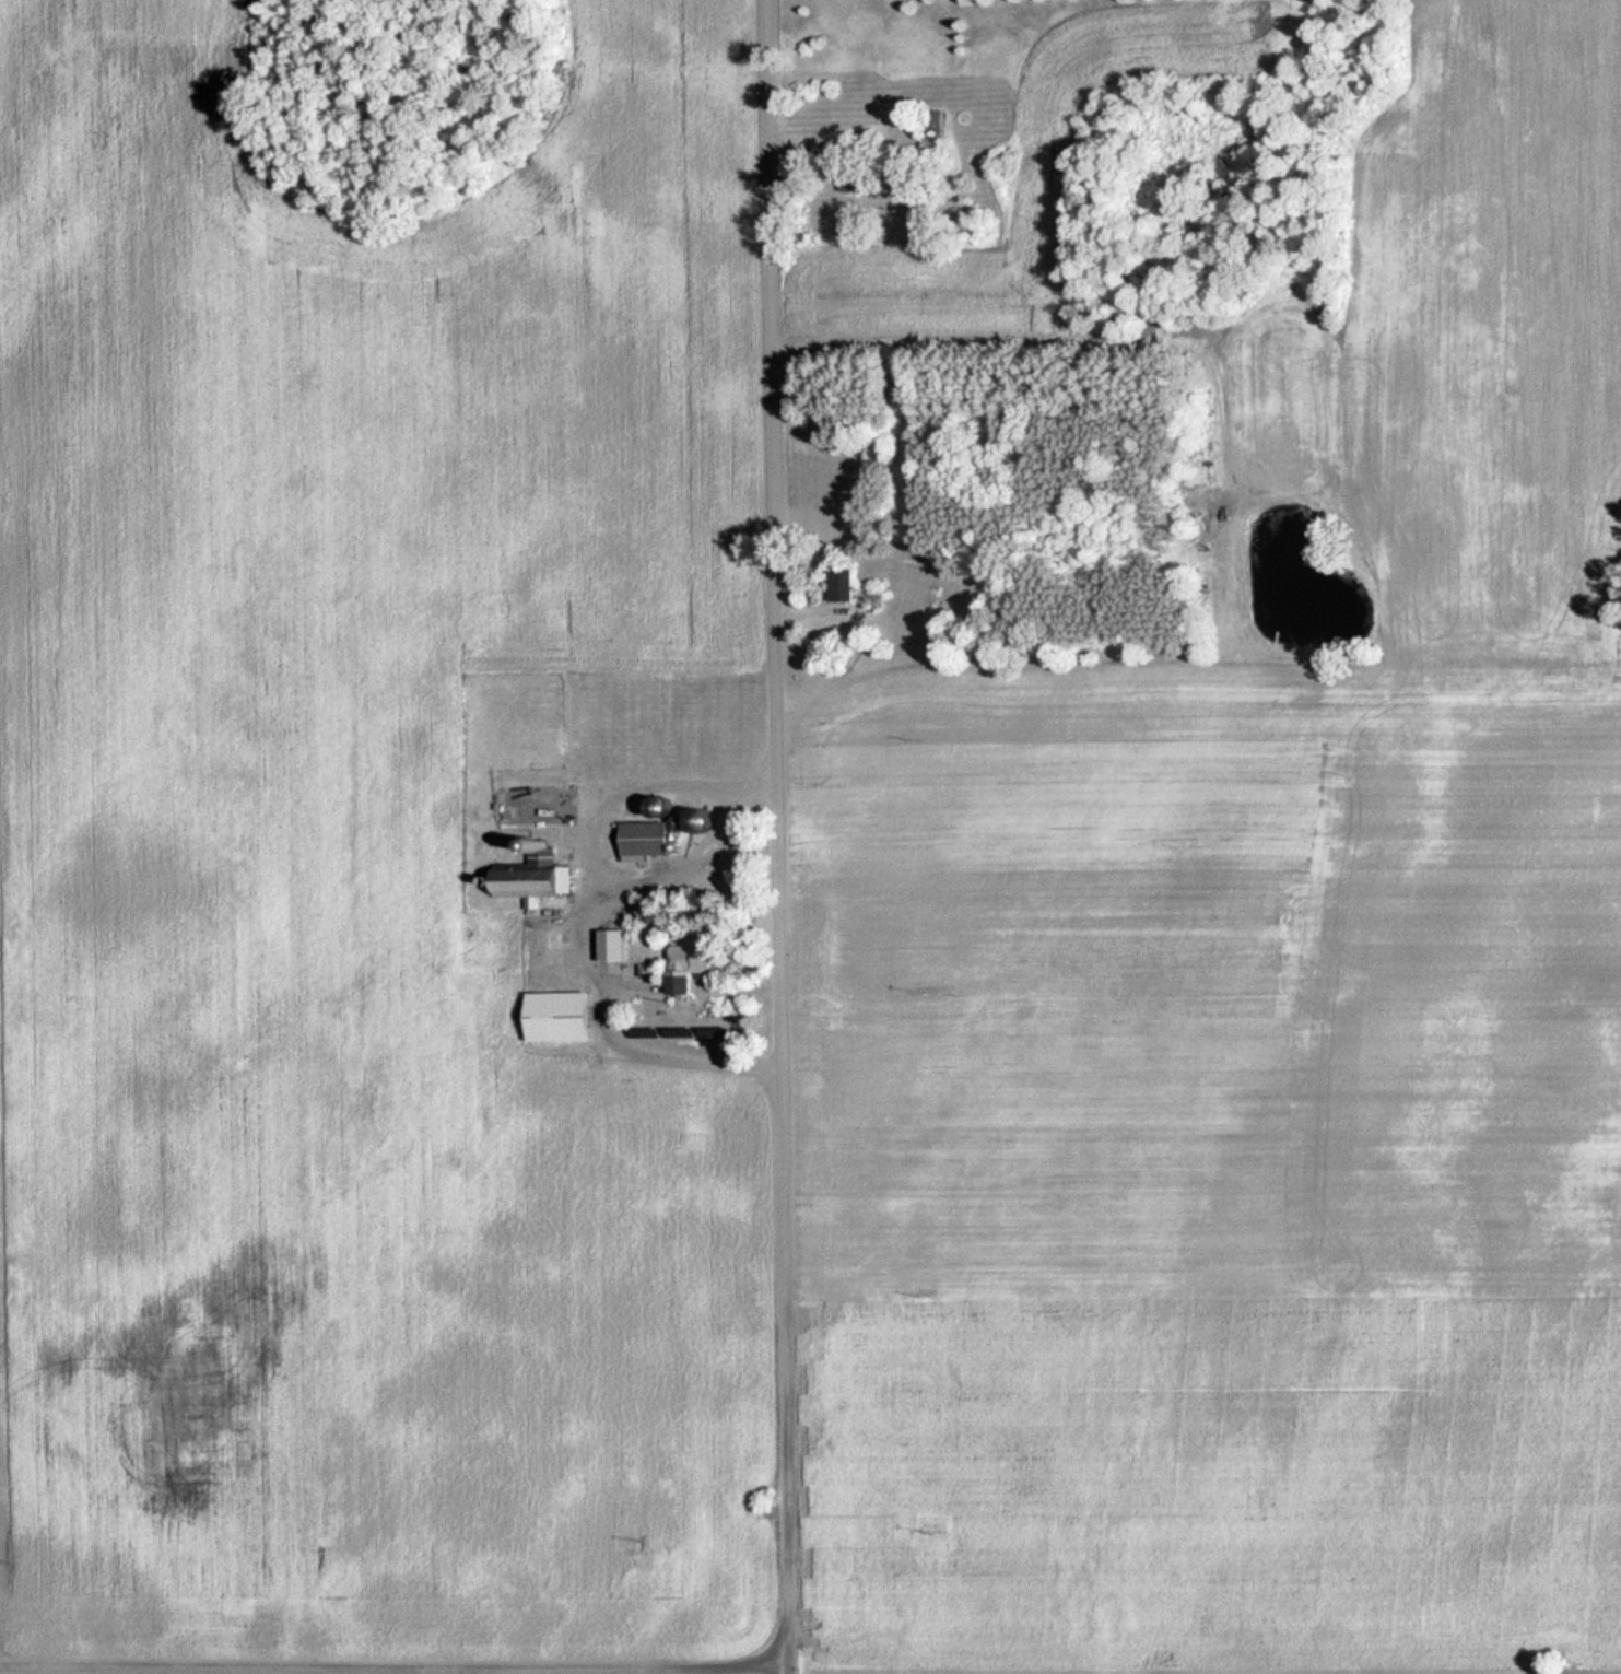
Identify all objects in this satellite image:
building: (935, 129)
building: (857, 176)
road: (780, 836)
building: (648, 842)
building: (535, 878)
building: (616, 946)
building: (697, 959)
building: (564, 1017)
road: (625, 1673)

